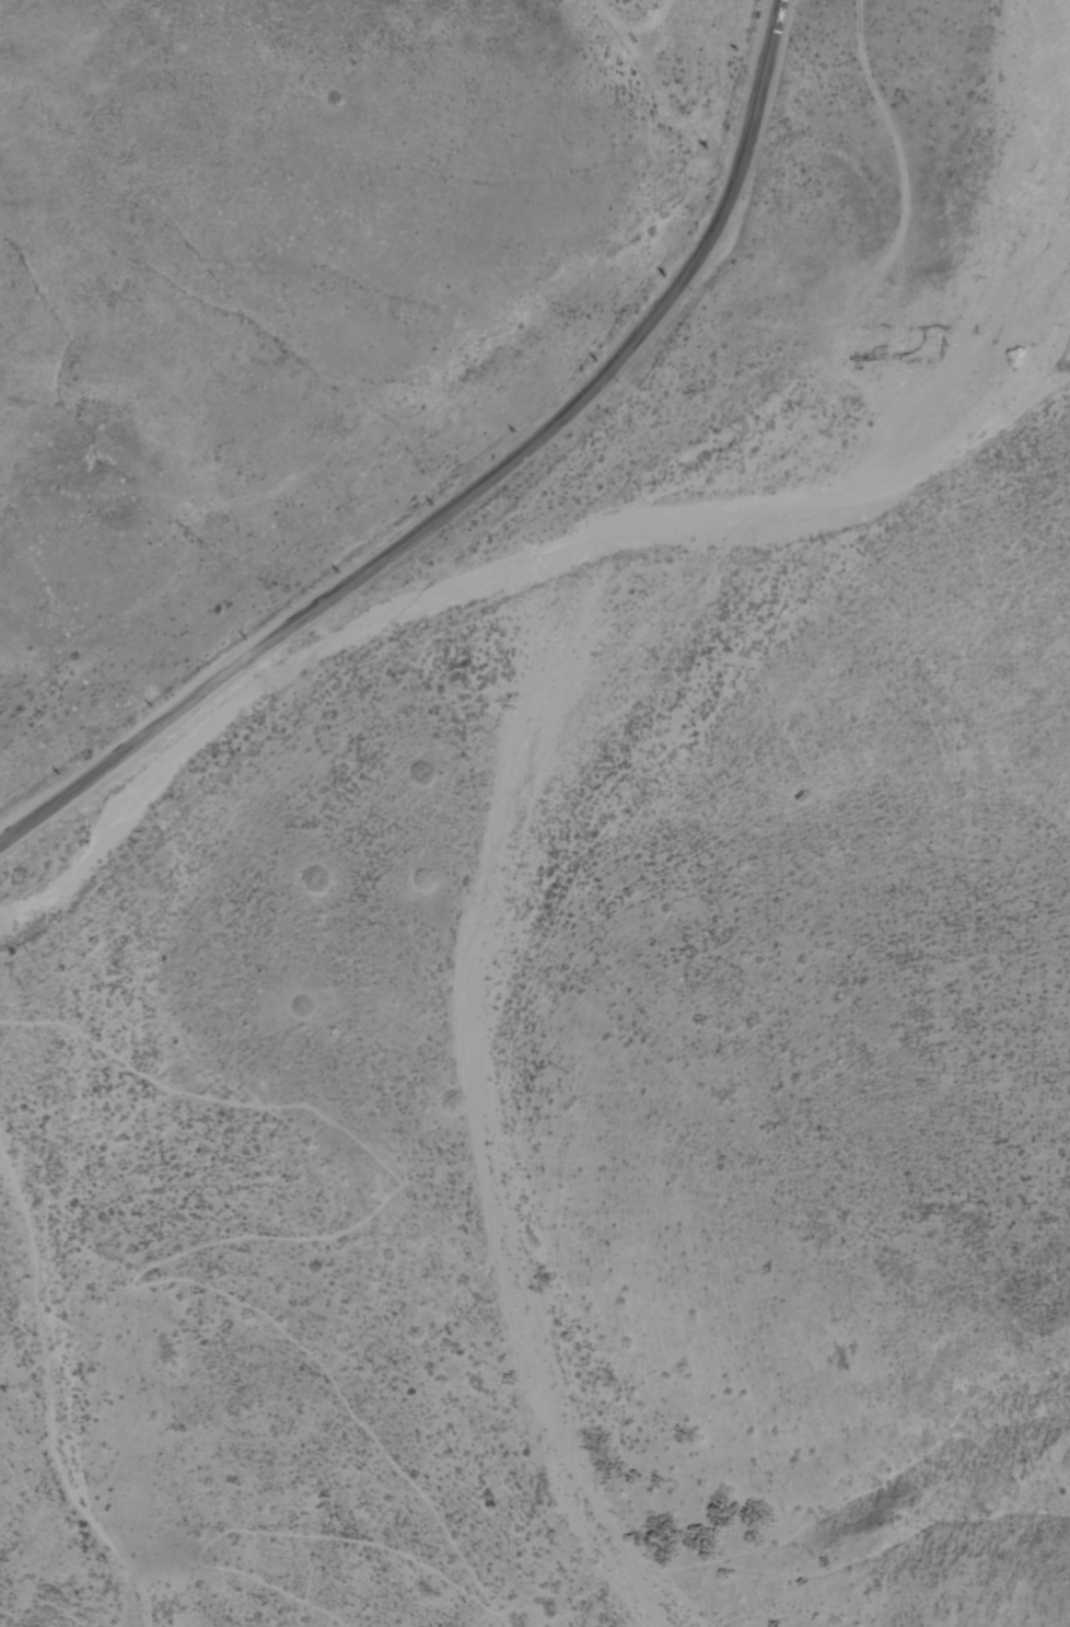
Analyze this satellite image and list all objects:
road: (476, 488)
road: (237, 1306)

